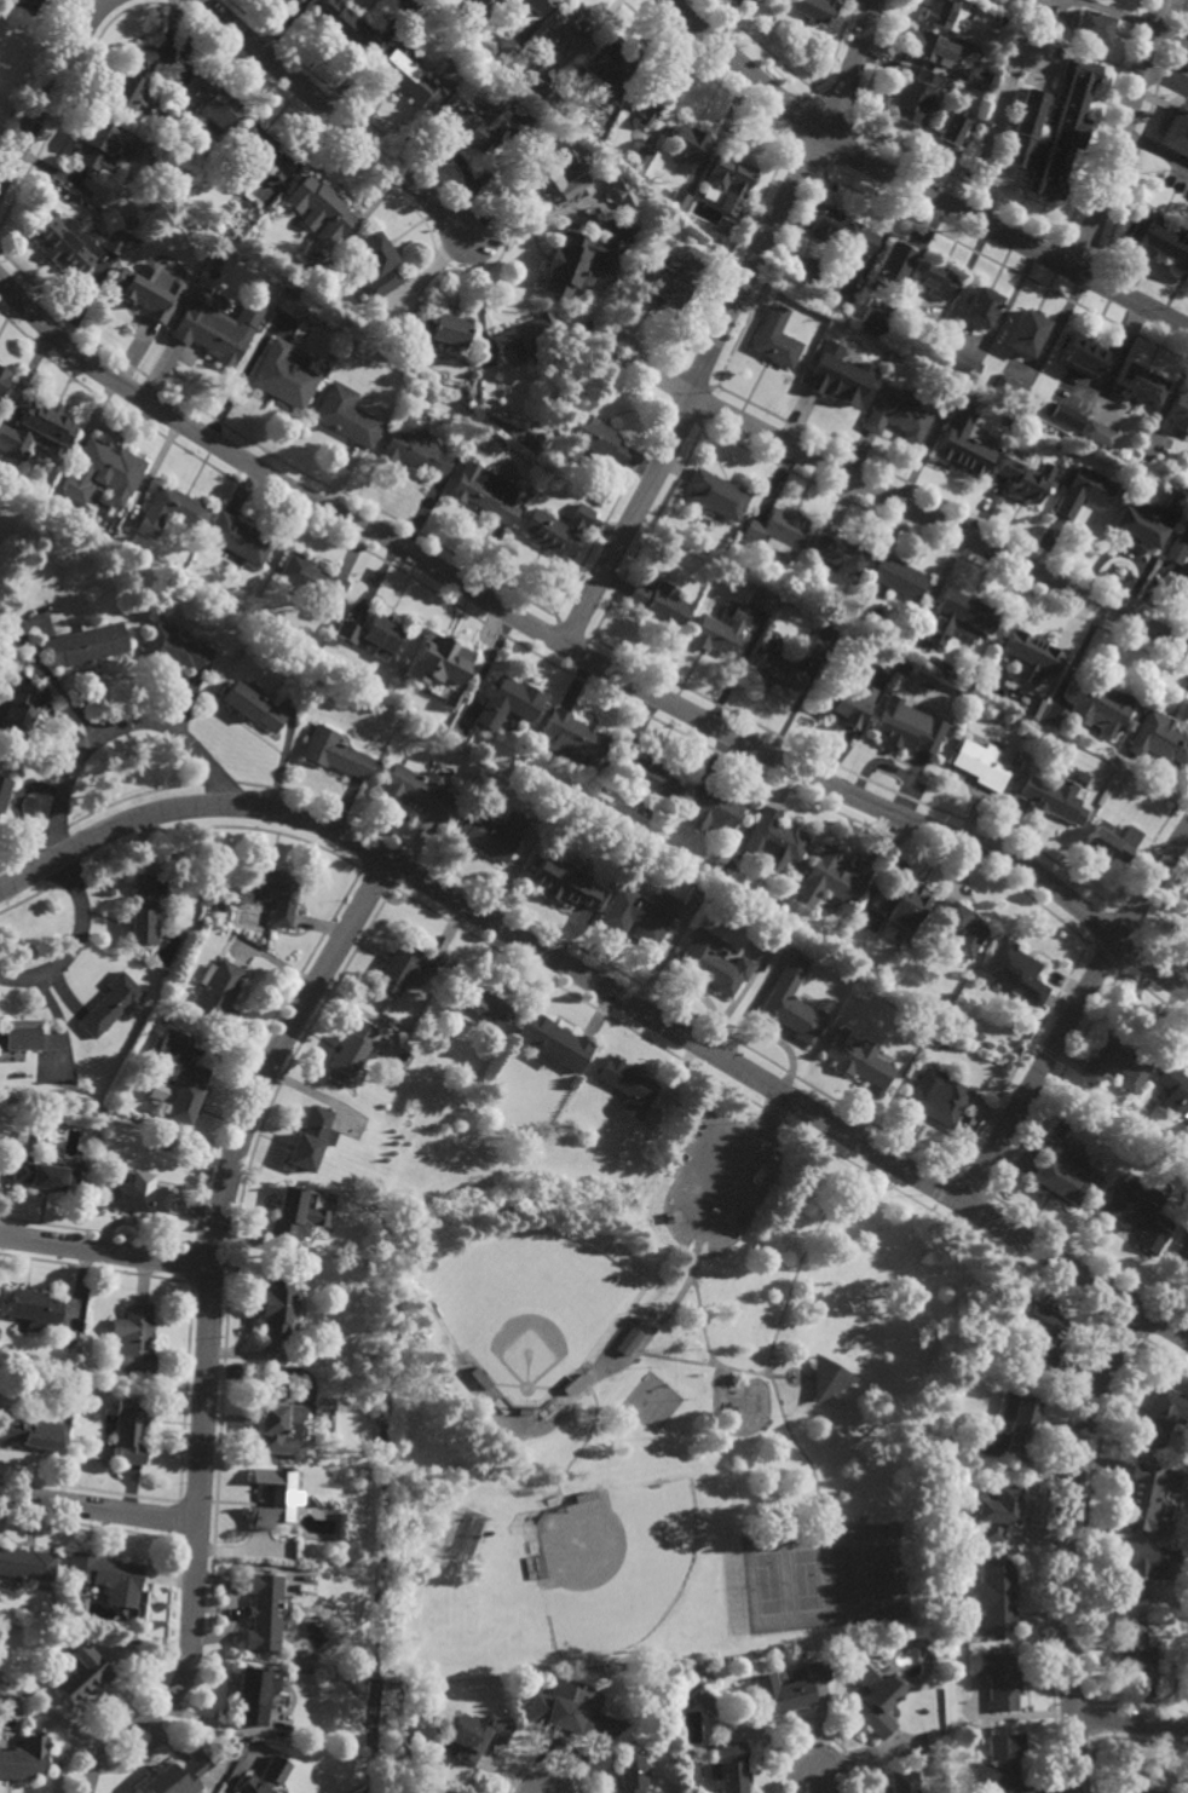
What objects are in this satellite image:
building: (296, 1)
road: (1181, 2)
building: (27, 4)
building: (405, 5)
building: (537, 5)
building: (814, 8)
building: (475, 10)
building: (982, 12)
building: (946, 13)
building: (345, 24)
building: (1091, 24)
building: (563, 31)
road: (1171, 40)
building: (930, 45)
building: (504, 48)
building: (601, 62)
road: (873, 64)
road: (40, 69)
road: (798, 73)
road: (703, 74)
building: (964, 74)
building: (405, 76)
road: (1165, 76)
building: (131, 77)
building: (975, 77)
building: (925, 79)
building: (540, 81)
road: (811, 88)
road: (51, 90)
building: (209, 100)
building: (911, 100)
building: (602, 102)
building: (644, 102)
road: (832, 111)
road: (1105, 114)
road: (338, 119)
building: (479, 123)
road: (993, 125)
building: (1022, 127)
building: (953, 128)
building: (1065, 128)
road: (1120, 136)
building: (1175, 136)
building: (105, 145)
building: (567, 145)
building: (686, 146)
building: (976, 150)
building: (256, 152)
road: (788, 152)
building: (640, 157)
road: (808, 160)
road: (1132, 168)
building: (181, 172)
road: (375, 177)
road: (825, 177)
road: (956, 177)
building: (558, 179)
building: (727, 180)
building: (651, 184)
road: (911, 186)
building: (677, 200)
building: (250, 203)
building: (319, 208)
building: (825, 223)
road: (1066, 229)
building: (229, 234)
building: (860, 238)
road: (1083, 240)
building: (115, 241)
building: (69, 242)
building: (1158, 243)
road: (1105, 248)
road: (729, 258)
building: (577, 260)
building: (895, 260)
building: (376, 266)
building: (811, 267)
road: (1008, 270)
building: (671, 277)
building: (936, 278)
road: (766, 282)
building: (143, 289)
building: (290, 294)
building: (842, 296)
building: (979, 307)
building: (875, 318)
road: (721, 324)
building: (929, 327)
building: (439, 329)
building: (212, 333)
building: (1025, 333)
road: (636, 334)
building: (526, 338)
building: (774, 338)
building: (1080, 356)
building: (962, 365)
road: (679, 368)
building: (4, 377)
building: (282, 377)
road: (625, 381)
road: (692, 381)
building: (840, 381)
building: (1140, 384)
road: (675, 388)
road: (711, 388)
building: (1009, 388)
building: (465, 392)
road: (700, 404)
road: (667, 405)
road: (685, 413)
building: (1178, 413)
building: (895, 415)
building: (345, 416)
building: (1066, 417)
road: (698, 426)
building: (38, 431)
building: (974, 434)
building: (1097, 434)
building: (594, 442)
building: (411, 443)
building: (961, 446)
road: (265, 451)
building: (1142, 462)
building: (104, 471)
building: (1022, 479)
building: (1083, 492)
building: (715, 495)
building: (480, 496)
road: (900, 503)
building: (1175, 505)
road: (951, 507)
building: (171, 511)
road: (610, 511)
building: (1137, 525)
building: (558, 530)
building: (777, 530)
road: (645, 534)
building: (238, 540)
building: (1178, 544)
road: (944, 552)
building: (840, 553)
building: (898, 577)
building: (1183, 577)
building: (311, 582)
building: (760, 601)
building: (659, 604)
road: (556, 618)
building: (958, 619)
building: (344, 630)
building: (720, 630)
road: (571, 633)
building: (374, 634)
road: (550, 635)
road: (589, 640)
building: (86, 645)
building: (820, 645)
building: (175, 648)
road: (527, 650)
road: (542, 652)
road: (577, 652)
road: (583, 656)
building: (1028, 658)
building: (438, 659)
building: (884, 663)
road: (570, 668)
building: (902, 669)
building: (777, 671)
building: (451, 697)
building: (507, 699)
building: (843, 701)
building: (254, 705)
building: (1097, 707)
building: (1028, 708)
building: (17, 713)
building: (1053, 717)
road: (111, 726)
building: (904, 727)
building: (573, 737)
building: (1158, 739)
building: (335, 753)
building: (984, 761)
building: (616, 763)
road: (852, 773)
building: (645, 778)
road: (220, 783)
building: (4, 786)
building: (417, 789)
building: (1053, 796)
road: (134, 797)
building: (711, 807)
building: (668, 819)
road: (54, 832)
building: (490, 832)
building: (774, 837)
building: (1111, 841)
road: (1150, 846)
road: (19, 853)
building: (830, 876)
road: (375, 878)
building: (564, 881)
building: (271, 889)
building: (1184, 901)
building: (901, 904)
road: (1109, 906)
building: (146, 907)
building: (219, 909)
building: (639, 913)
building: (964, 928)
road: (71, 942)
road: (1088, 944)
road: (602, 962)
building: (710, 963)
building: (403, 965)
building: (1013, 970)
road: (609, 991)
building: (217, 994)
building: (478, 1002)
building: (110, 1003)
building: (790, 1003)
road: (1072, 1013)
building: (27, 1034)
building: (552, 1043)
building: (347, 1050)
building: (858, 1059)
road: (1019, 1060)
building: (1113, 1062)
building: (178, 1078)
building: (928, 1078)
building: (625, 1086)
building: (1173, 1090)
building: (939, 1102)
road: (751, 1103)
road: (774, 1113)
building: (308, 1138)
parking lot: (721, 1170)
building: (1065, 1174)
building: (45, 1176)
building: (134, 1195)
building: (662, 1209)
road: (826, 1209)
building: (284, 1213)
road: (675, 1217)
building: (1137, 1218)
road: (215, 1233)
road: (105, 1251)
building: (1182, 1252)
building: (272, 1307)
building: (33, 1308)
park: (527, 1310)
road: (699, 1321)
building: (1040, 1328)
road: (1129, 1328)
building: (135, 1337)
building: (452, 1341)
building: (627, 1341)
road: (629, 1357)
road: (708, 1364)
road: (767, 1370)
building: (479, 1374)
building: (826, 1376)
road: (800, 1377)
road: (806, 1378)
building: (571, 1380)
park: (650, 1393)
park: (648, 1403)
building: (523, 1409)
building: (1161, 1414)
building: (1017, 1416)
building: (273, 1418)
building: (132, 1425)
building: (31, 1430)
building: (587, 1494)
building: (1142, 1494)
building: (271, 1495)
building: (992, 1507)
road: (97, 1509)
building: (534, 1517)
road: (1065, 1544)
building: (28, 1563)
park: (615, 1566)
building: (1134, 1566)
building: (536, 1569)
building: (108, 1575)
park: (821, 1578)
building: (996, 1593)
building: (260, 1610)
building: (1135, 1653)
building: (81, 1673)
building: (996, 1677)
building: (790, 1689)
building: (249, 1694)
building: (878, 1697)
building: (702, 1700)
building: (563, 1708)
road: (137, 1719)
road: (1130, 1722)
building: (474, 1734)
building: (23, 1758)
building: (999, 1763)
building: (727, 1766)
building: (177, 1772)
building: (629, 1772)
building: (261, 1776)
building: (904, 1781)
building: (1141, 1783)
road: (818, 1785)
building: (661, 1792)

